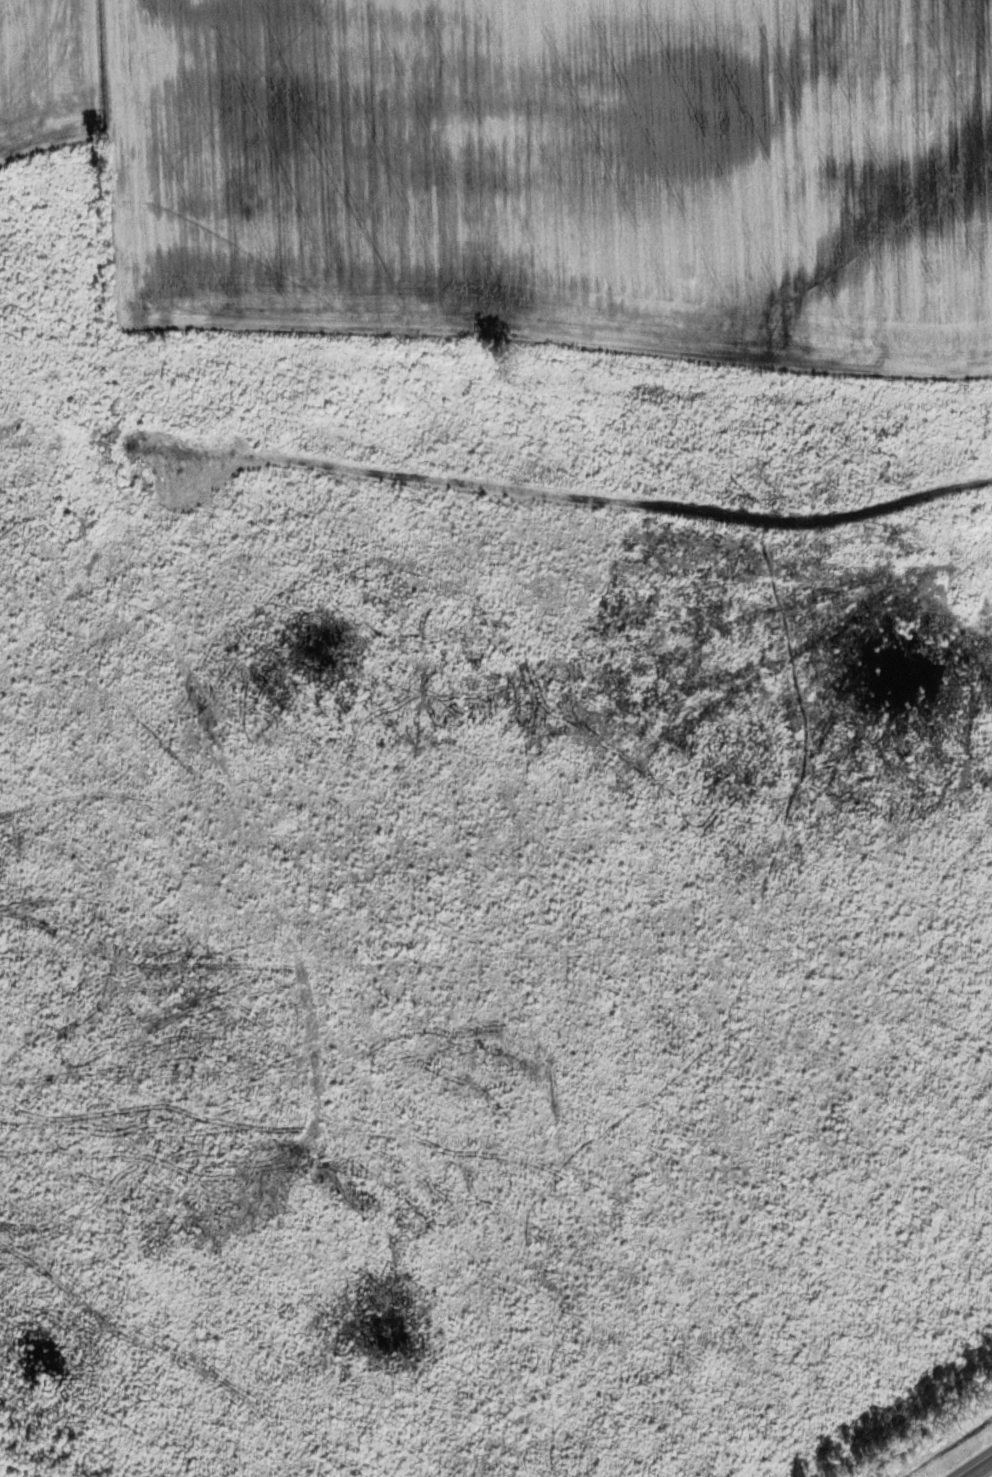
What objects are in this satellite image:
road: (989, 1475)

